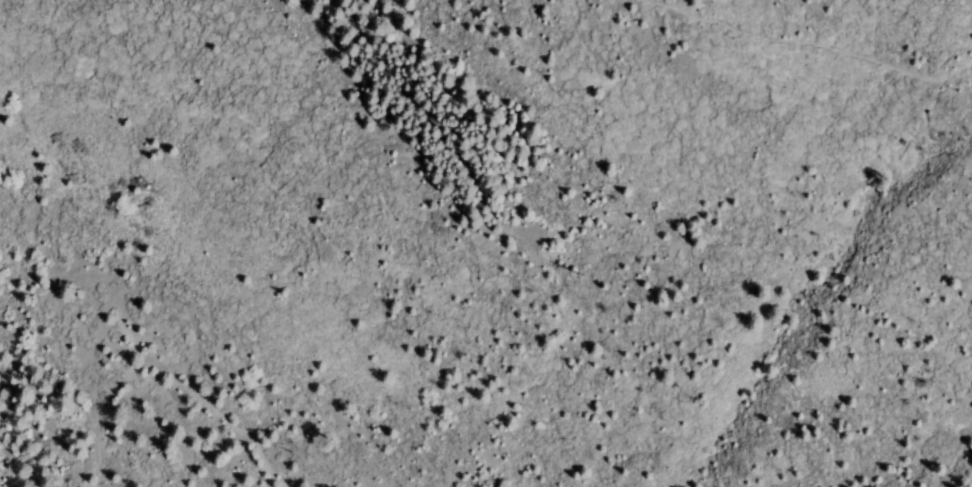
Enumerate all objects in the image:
road: (223, 417)

